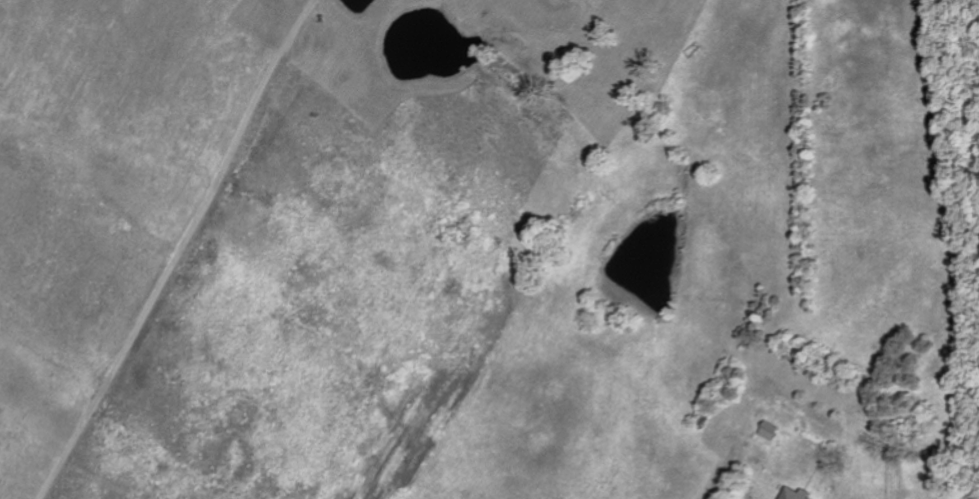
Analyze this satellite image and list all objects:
road: (184, 250)
building: (771, 432)
building: (799, 494)

